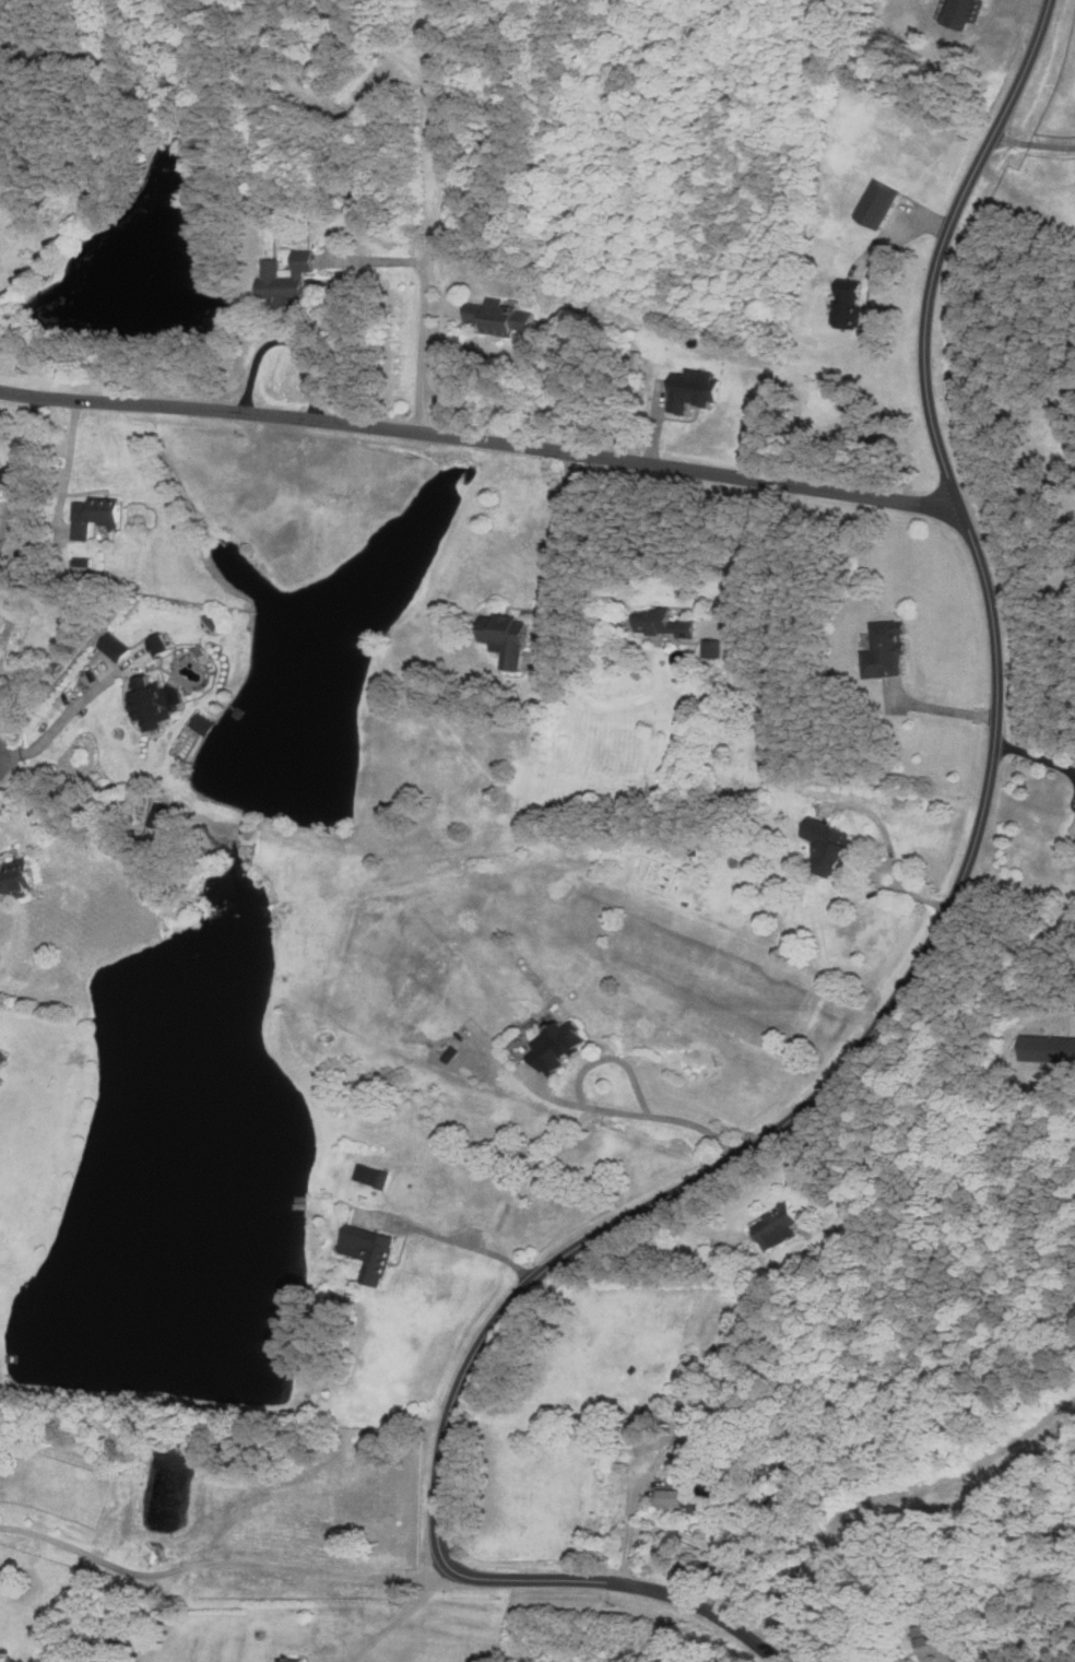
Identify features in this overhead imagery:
building: (324, 58)
road: (1033, 142)
building: (882, 205)
road: (429, 223)
building: (290, 281)
building: (851, 307)
building: (503, 317)
building: (694, 391)
road: (482, 438)
road: (69, 460)
building: (96, 516)
road: (556, 549)
road: (754, 558)
building: (669, 629)
building: (510, 638)
building: (161, 645)
building: (711, 648)
building: (888, 650)
building: (151, 702)
road: (942, 709)
road: (57, 717)
road: (1036, 755)
road: (1, 761)
building: (832, 848)
road: (897, 870)
building: (17, 880)
road: (960, 884)
building: (558, 1047)
building: (0, 1049)
building: (1, 1084)
road: (638, 1117)
building: (371, 1177)
building: (778, 1228)
road: (476, 1249)
building: (371, 1253)
building: (645, 1425)
building: (630, 1427)
building: (663, 1497)
building: (702, 1500)
road: (629, 1530)
road: (702, 1539)
road: (217, 1578)
road: (461, 1581)
road: (636, 1584)
road: (394, 1622)
building: (934, 1645)
building: (292, 1661)

